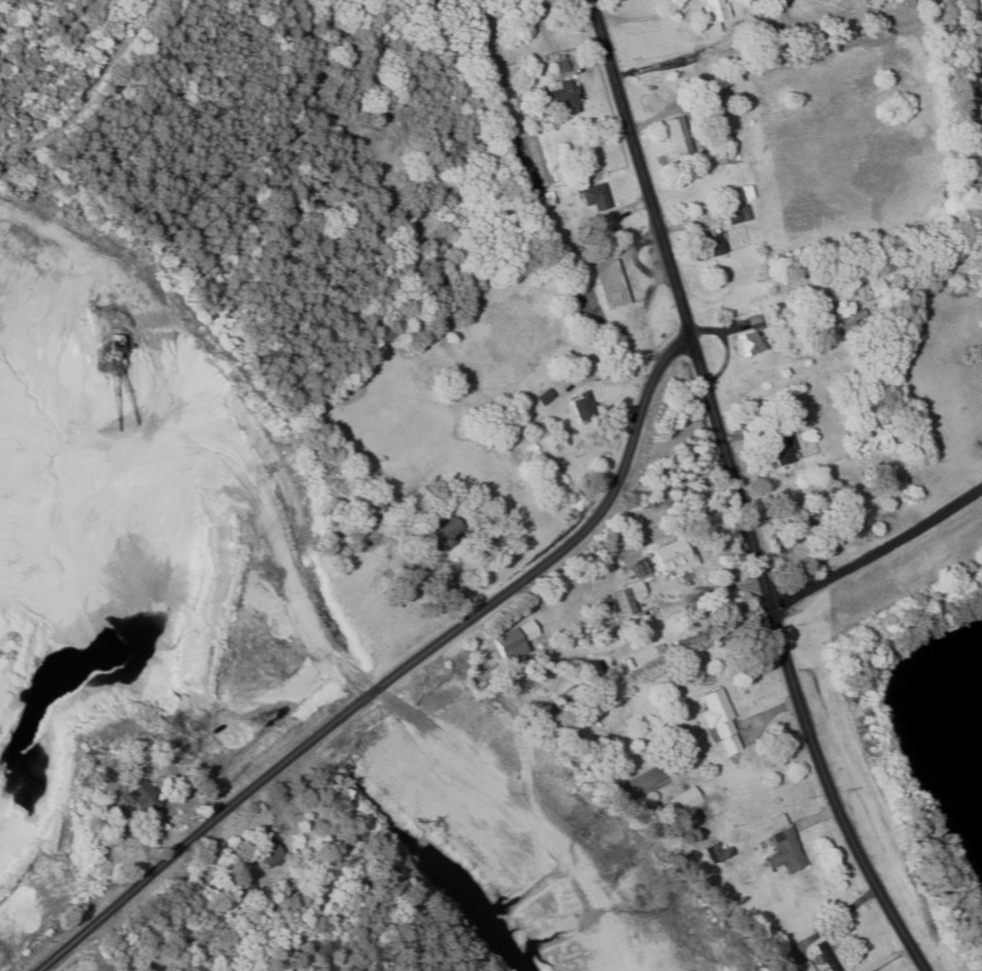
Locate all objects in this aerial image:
building: (716, 10)
building: (562, 68)
building: (562, 96)
building: (713, 109)
building: (679, 136)
building: (359, 155)
road: (643, 167)
building: (595, 198)
building: (713, 245)
building: (610, 280)
building: (749, 344)
building: (545, 397)
building: (583, 407)
building: (784, 447)
building: (812, 517)
building: (444, 535)
road: (878, 550)
building: (673, 558)
building: (513, 642)
road: (790, 660)
road: (400, 674)
building: (721, 717)
building: (145, 797)
building: (686, 801)
building: (785, 847)
building: (721, 853)
building: (268, 854)
building: (827, 956)
building: (808, 966)

